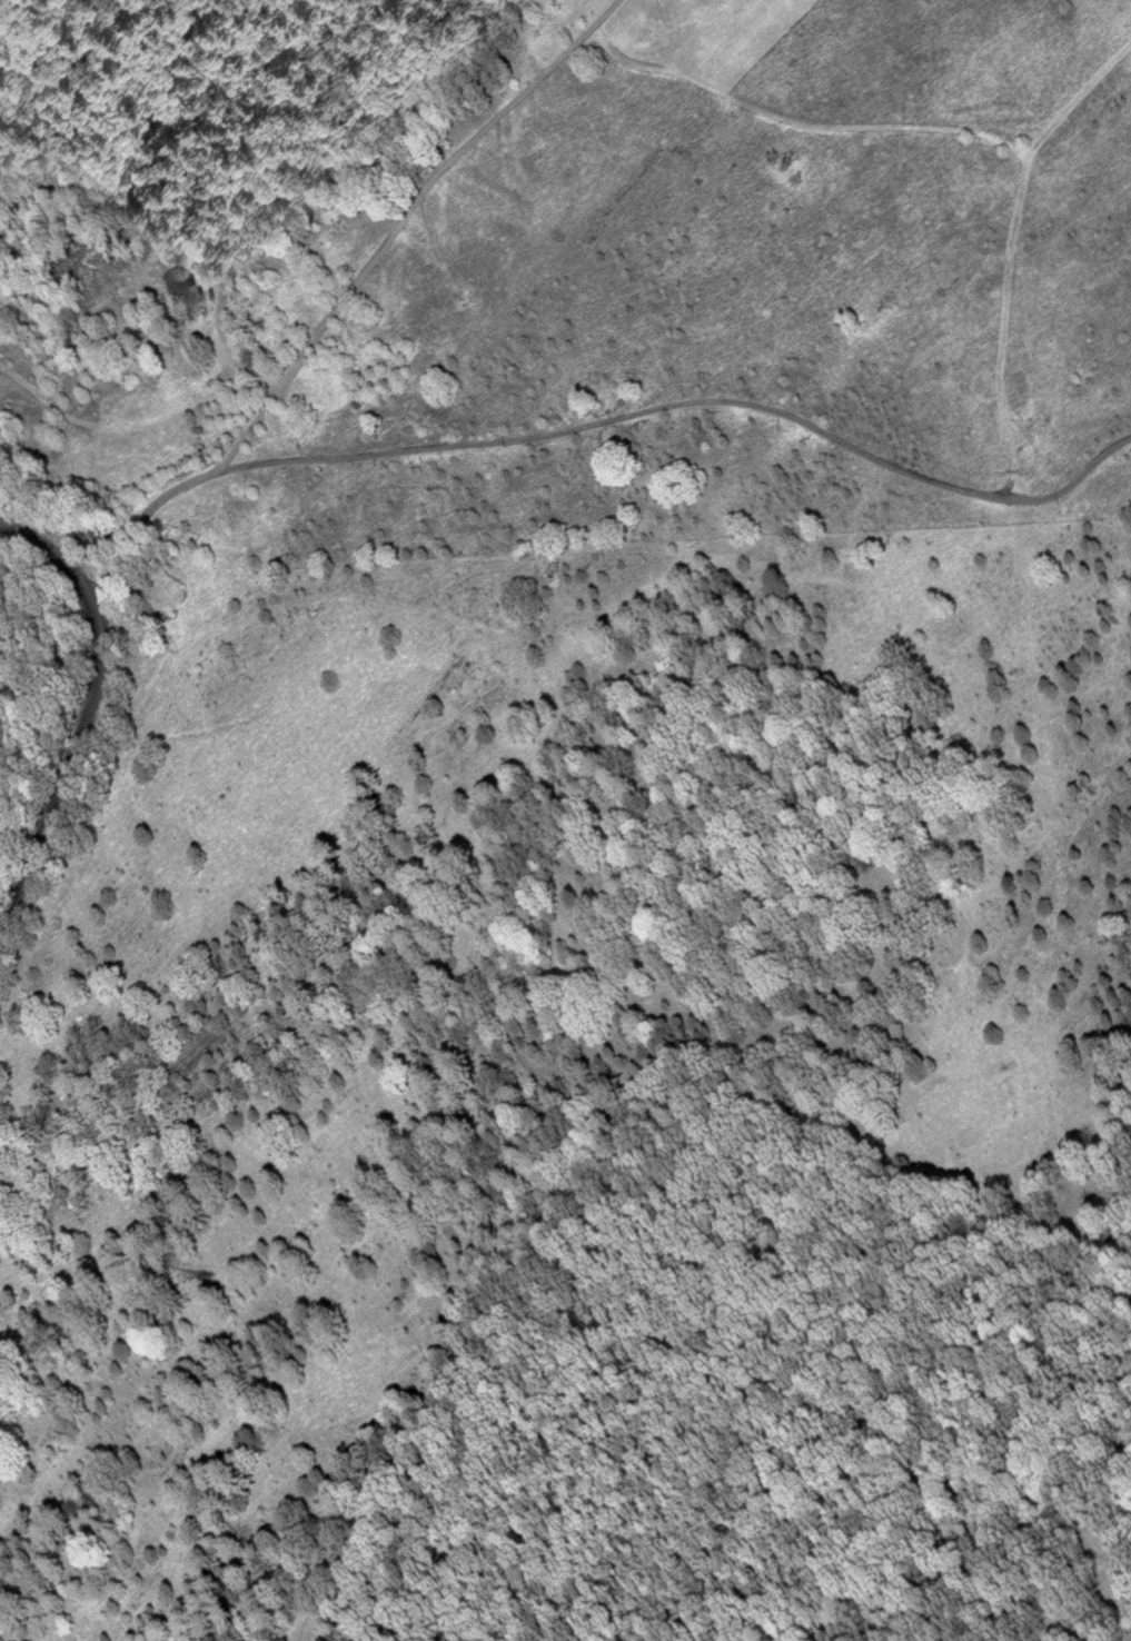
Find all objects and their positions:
road: (1075, 101)
road: (966, 131)
road: (406, 222)
road: (595, 422)
road: (88, 694)

